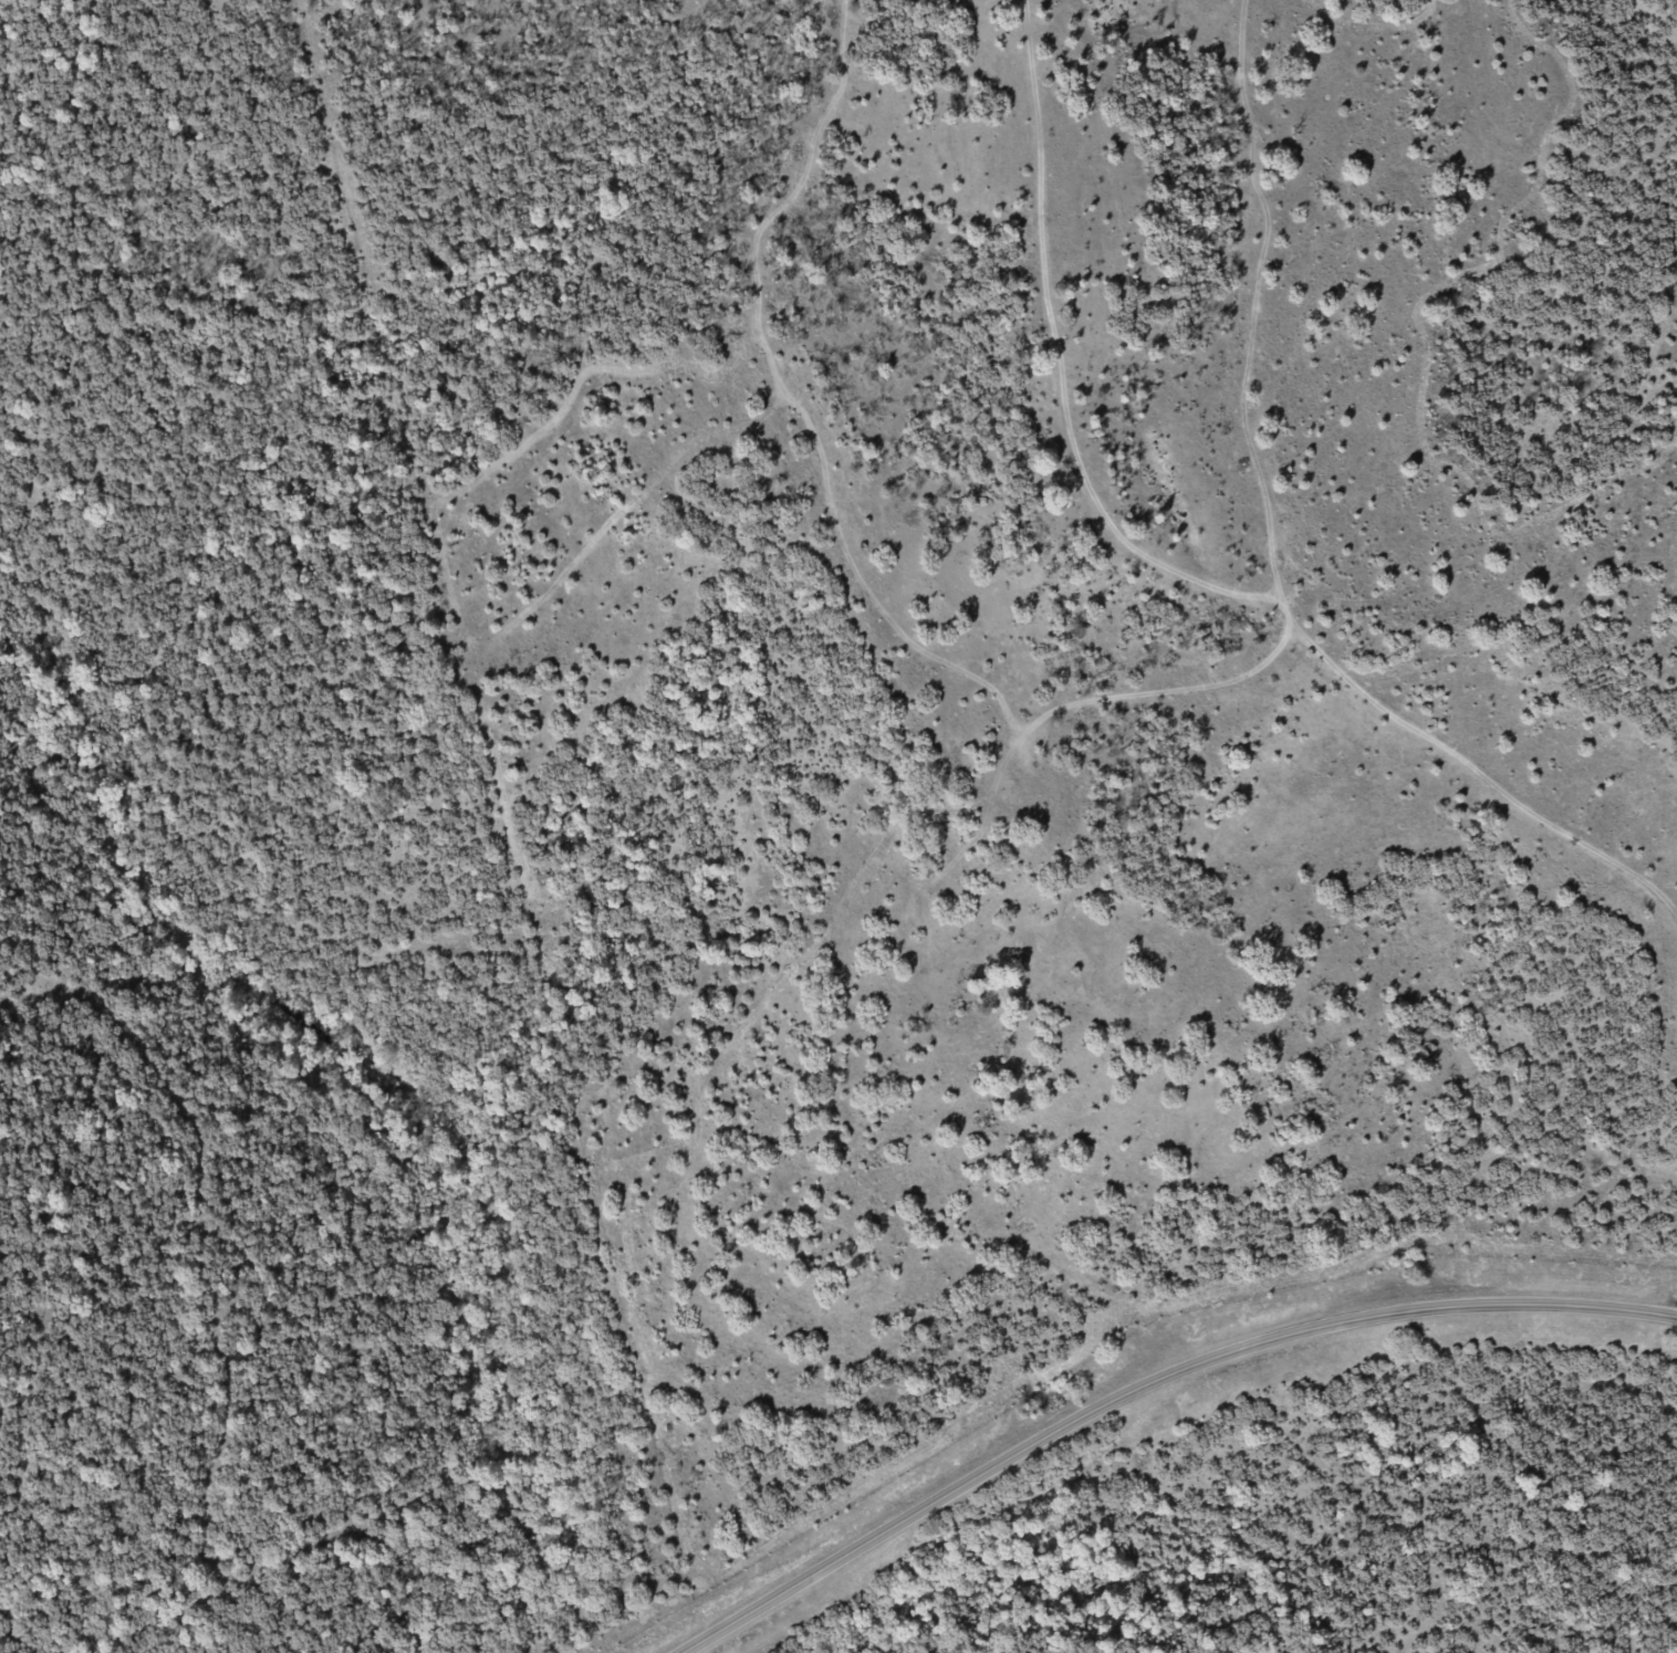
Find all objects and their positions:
park: (838, 826)
road: (1149, 1383)

